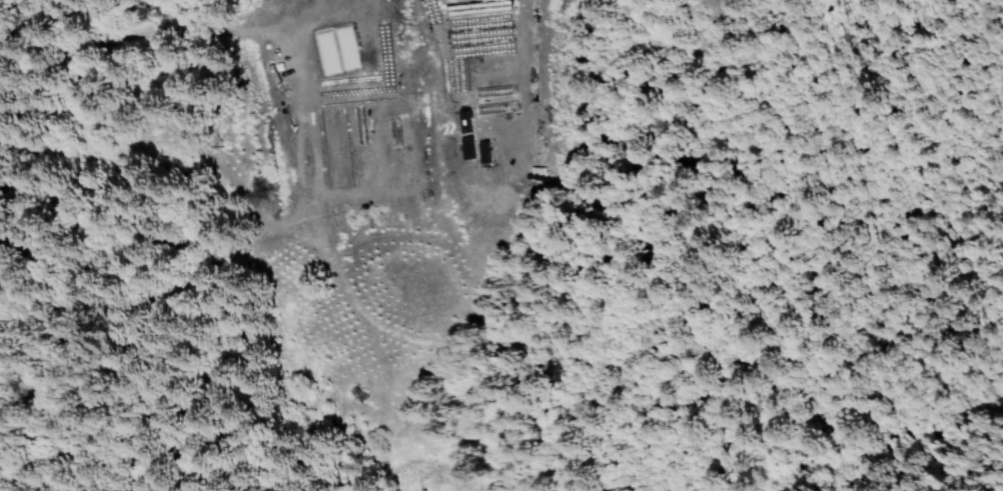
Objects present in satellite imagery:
road: (41, 55)
building: (467, 149)
building: (484, 153)
road: (181, 159)

